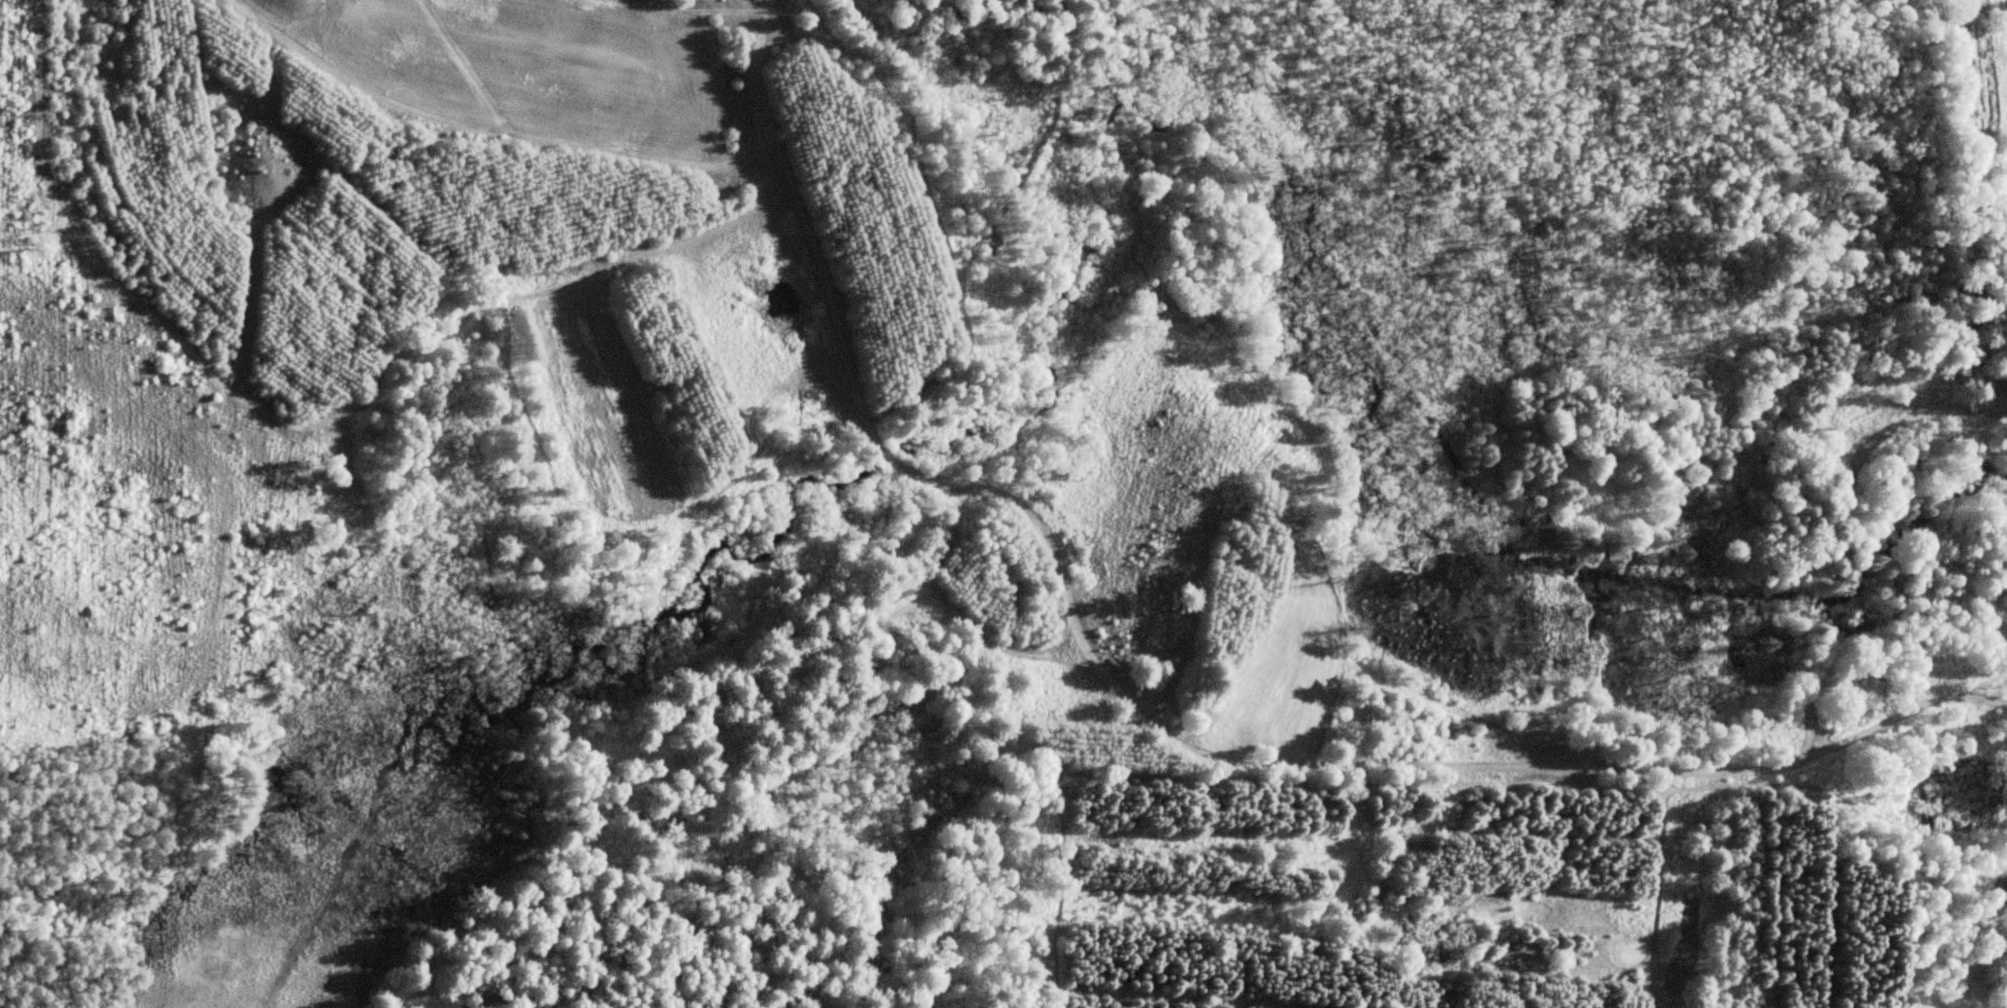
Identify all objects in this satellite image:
building: (904, 592)

